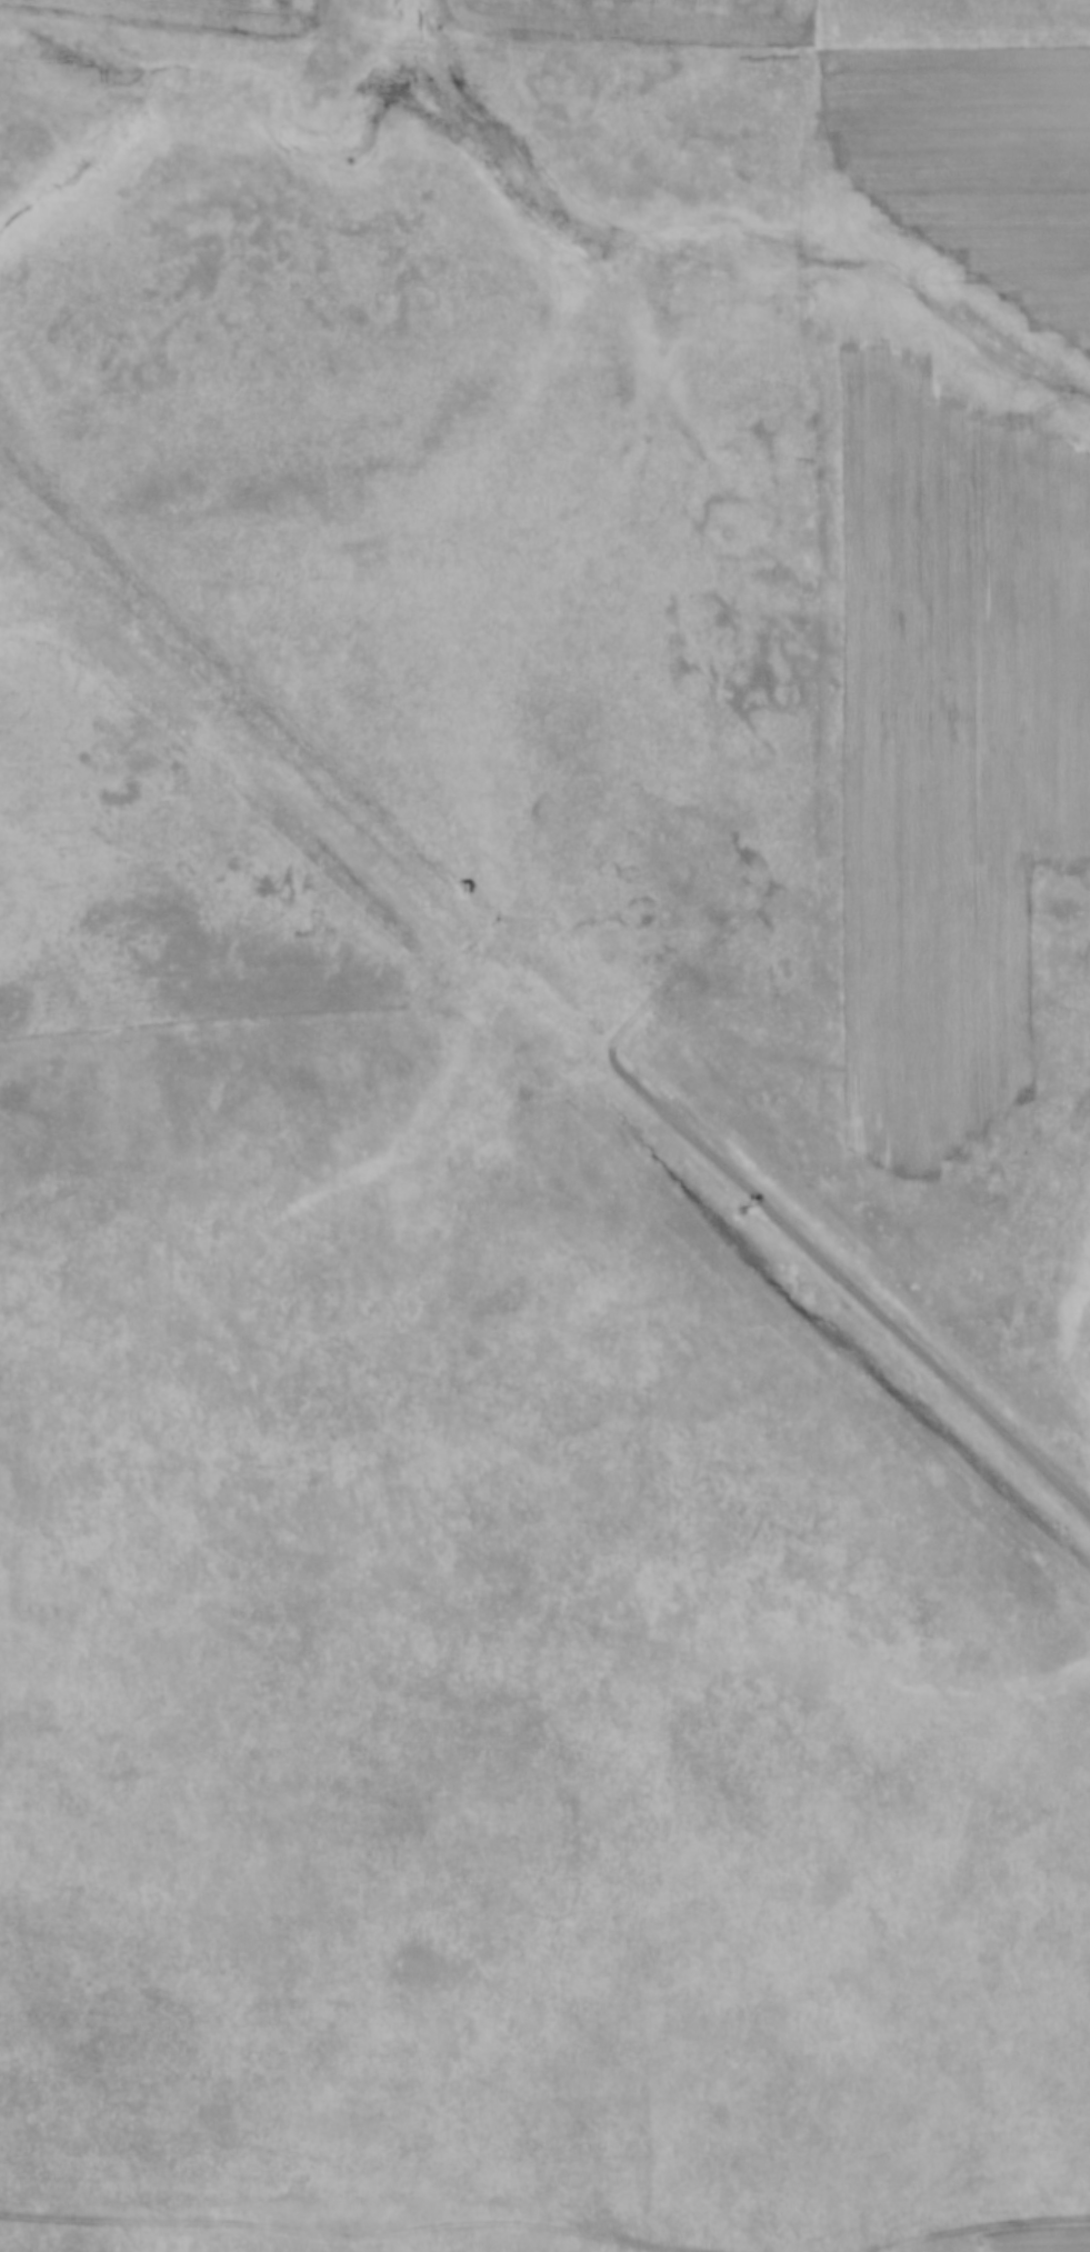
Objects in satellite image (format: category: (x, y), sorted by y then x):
road: (981, 2221)
road: (336, 2222)

